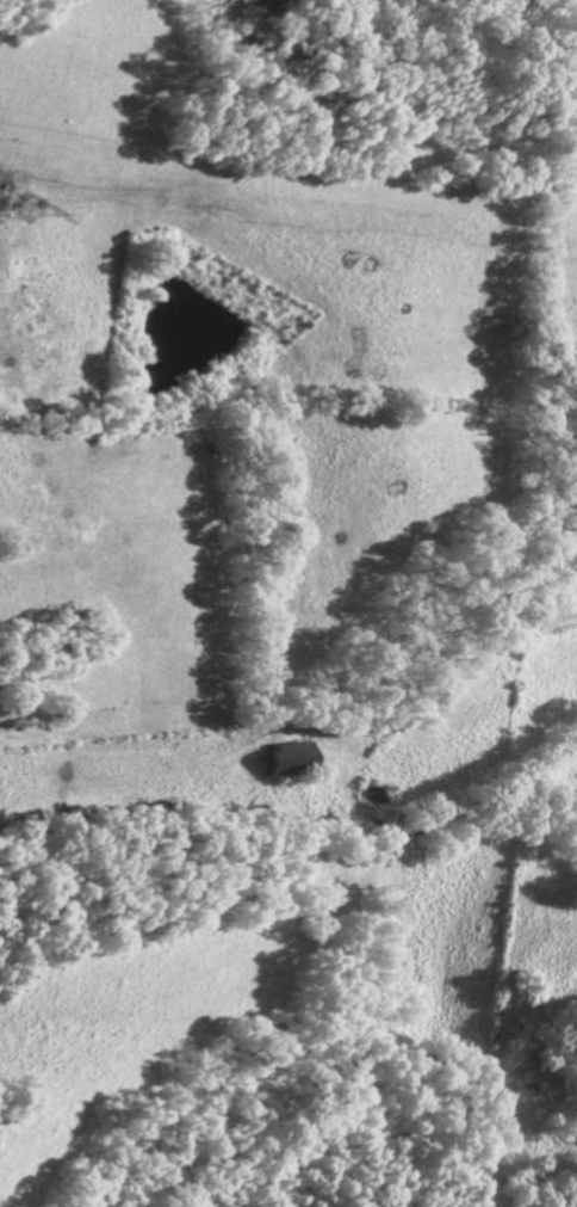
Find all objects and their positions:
power tower: (20, 209)
road: (404, 675)

